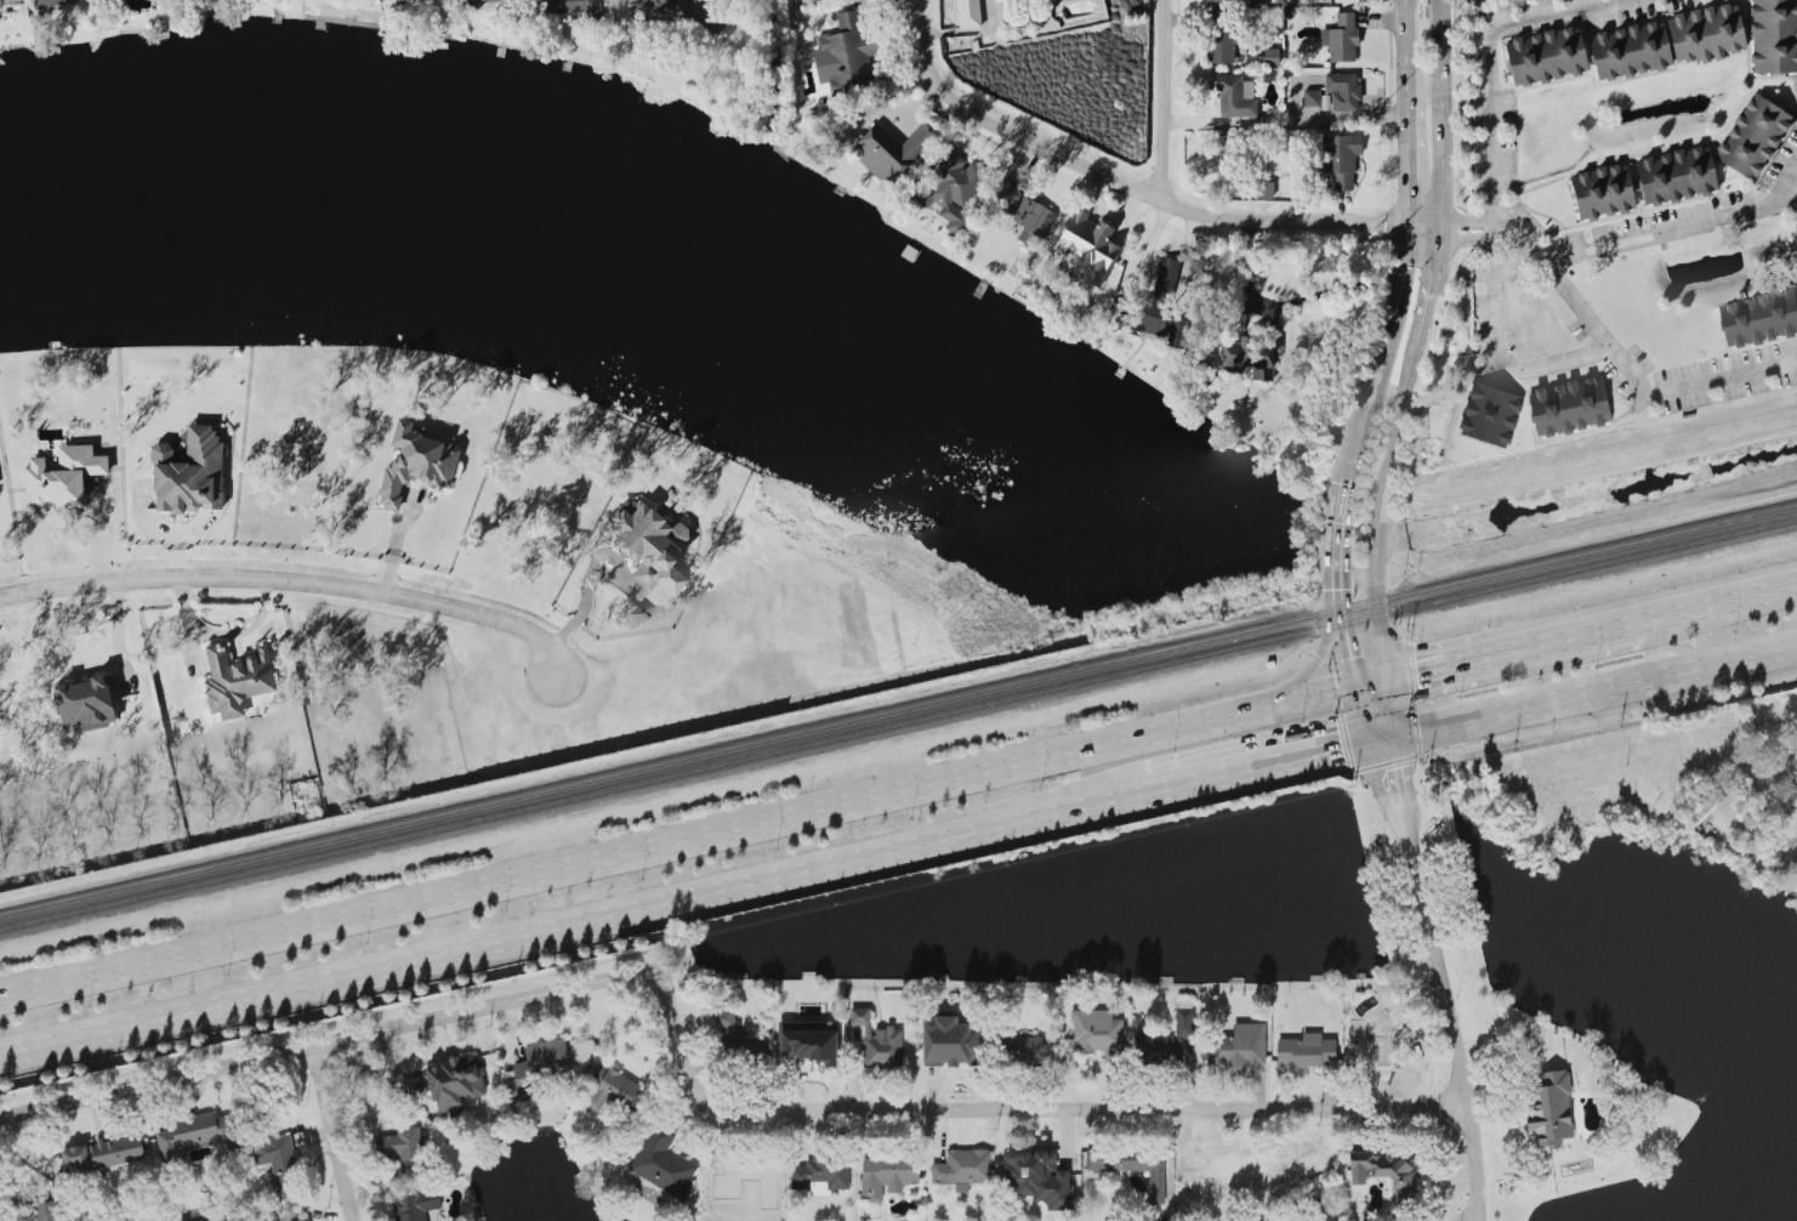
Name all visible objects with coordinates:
building: (1224, 0)
building: (7, 1)
building: (46, 1)
building: (569, 6)
building: (686, 11)
building: (968, 12)
building: (1705, 32)
building: (1773, 35)
building: (1218, 36)
building: (1341, 36)
building: (1628, 49)
road: (1403, 50)
building: (843, 53)
building: (1545, 53)
building: (1270, 55)
road: (1491, 63)
building: (1342, 89)
building: (1233, 95)
building: (1310, 96)
road: (1160, 101)
road: (1438, 112)
building: (1752, 135)
building: (891, 149)
building: (1340, 158)
road: (1405, 163)
building: (1676, 174)
road: (1116, 183)
building: (950, 187)
building: (1261, 187)
building: (1602, 191)
building: (1020, 209)
road: (1423, 225)
road: (1467, 225)
road: (1672, 227)
building: (1087, 245)
road: (1558, 273)
road: (1432, 285)
road: (1287, 297)
building: (1158, 306)
building: (1759, 319)
road: (1389, 330)
road: (1502, 346)
building: (1253, 351)
road: (1689, 385)
building: (1571, 408)
building: (1492, 416)
building: (416, 460)
building: (189, 471)
building: (63, 473)
road: (1337, 529)
road: (1376, 543)
building: (649, 558)
road: (297, 584)
road: (582, 604)
road: (1718, 607)
road: (221, 632)
road: (116, 634)
road: (1513, 654)
road: (1310, 670)
building: (235, 678)
traffic signals: (1387, 683)
road: (1357, 686)
traffic signals: (1358, 689)
road: (1588, 695)
building: (85, 699)
railway: (898, 714)
road: (1610, 722)
railway: (898, 727)
traffic signals: (1381, 744)
road: (1387, 765)
road: (1266, 769)
building: (1712, 800)
road: (693, 839)
road: (688, 920)
road: (575, 927)
road: (1438, 981)
building: (1099, 1034)
building: (812, 1043)
building: (880, 1043)
building: (950, 1043)
building: (1166, 1043)
building: (1240, 1047)
building: (1025, 1050)
building: (1306, 1051)
building: (539, 1069)
building: (457, 1084)
road: (694, 1089)
building: (614, 1092)
building: (1553, 1111)
road: (330, 1136)
building: (197, 1138)
building: (404, 1152)
building: (104, 1154)
building: (280, 1164)
building: (665, 1165)
building: (1135, 1166)
building: (1229, 1168)
building: (965, 1170)
building: (1387, 1172)
building: (823, 1175)
building: (889, 1175)
building: (1040, 1180)
building: (417, 1205)
building: (49, 1213)
road: (1473, 1219)
building: (309, 1220)

